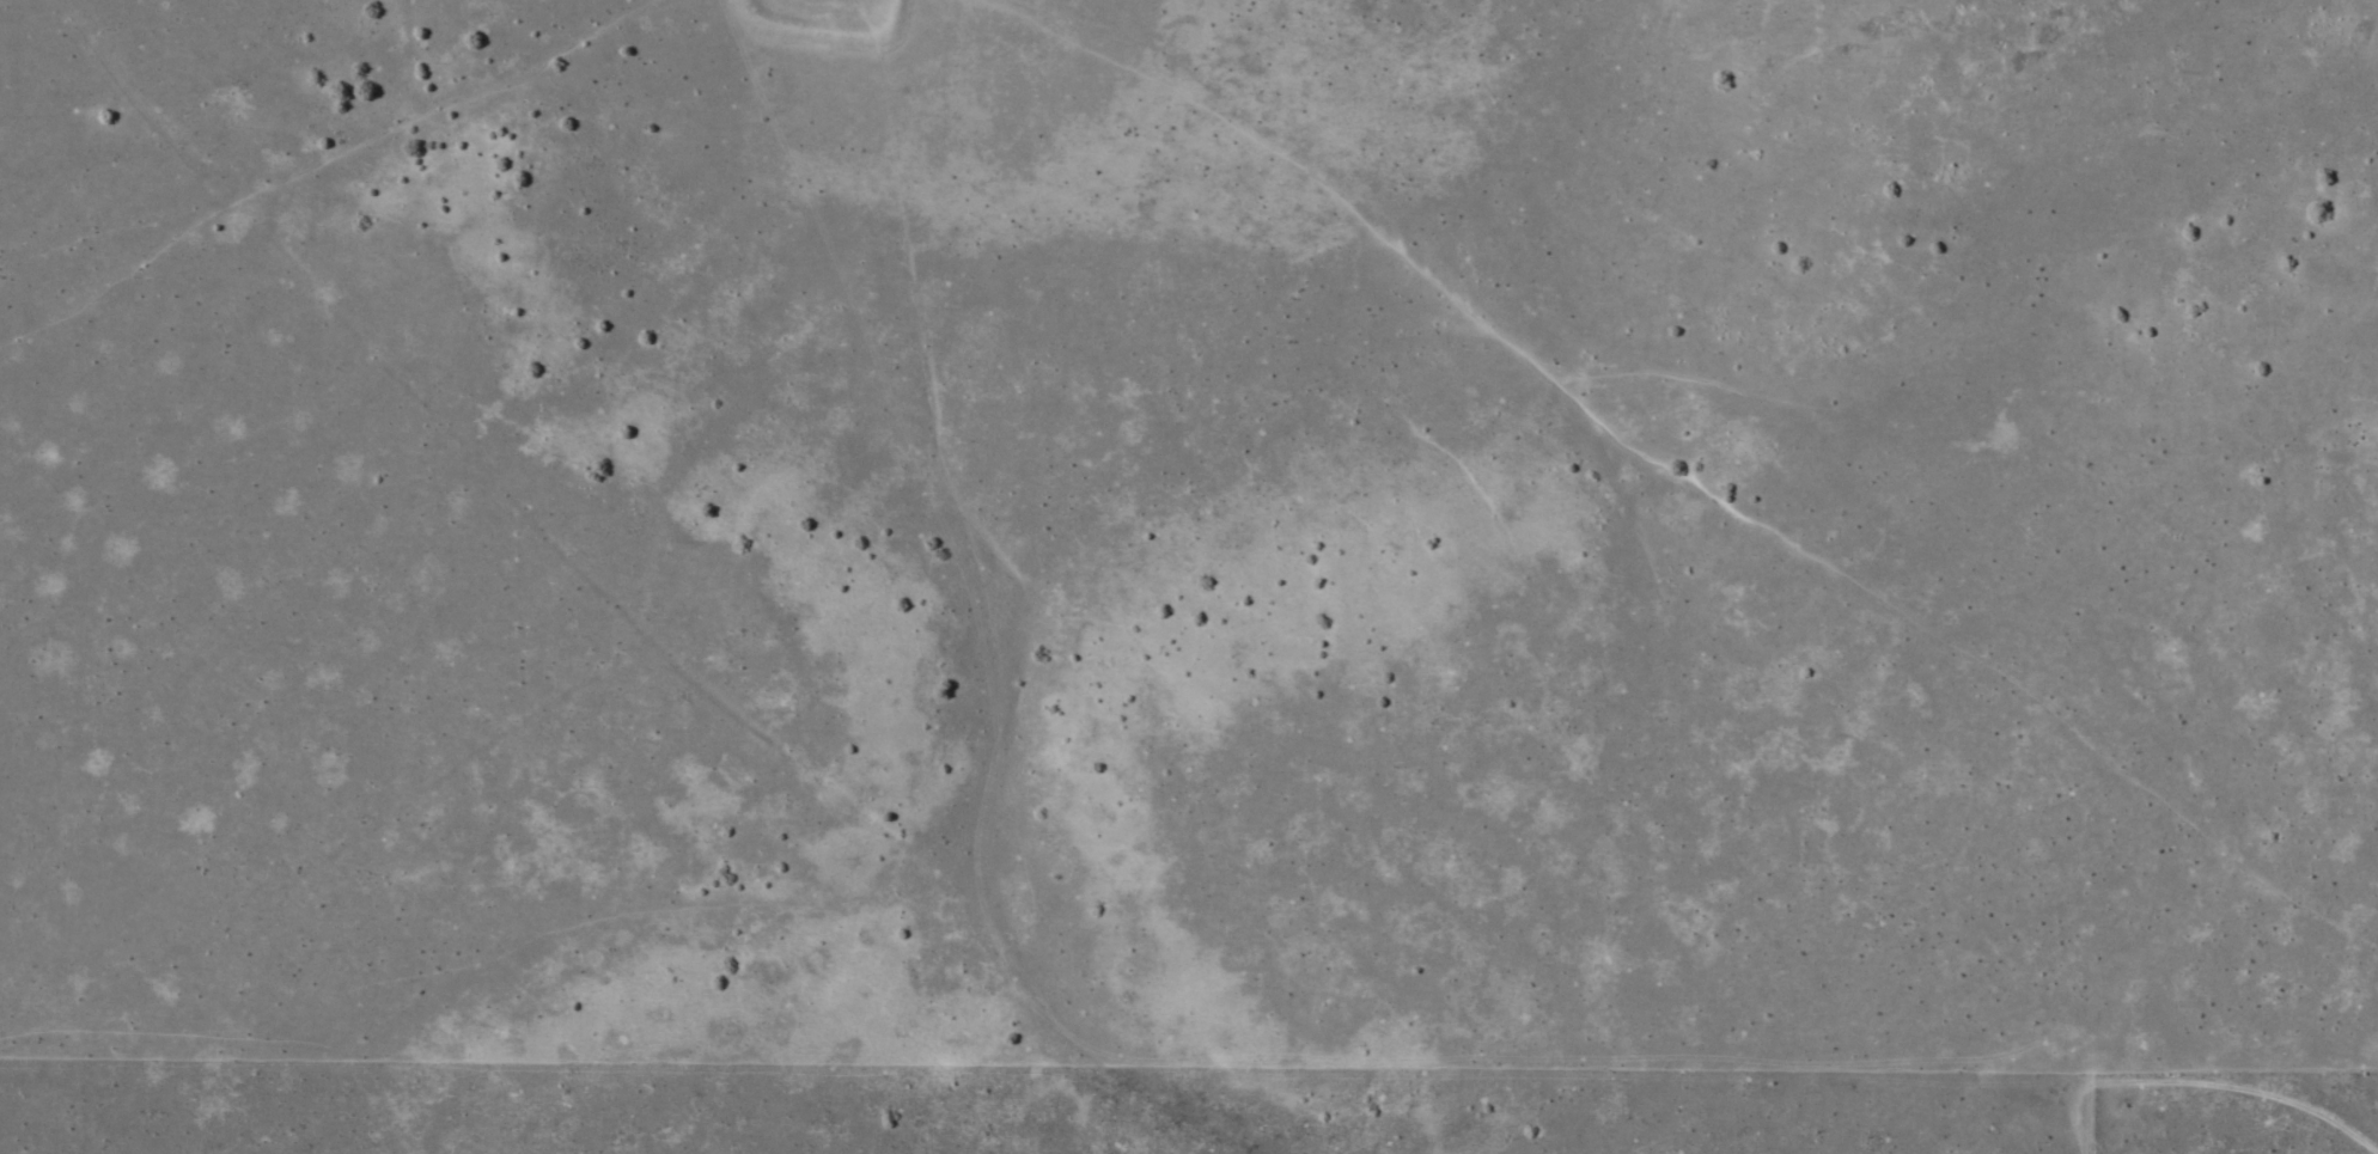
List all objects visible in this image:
road: (2237, 1089)
road: (2084, 1119)

